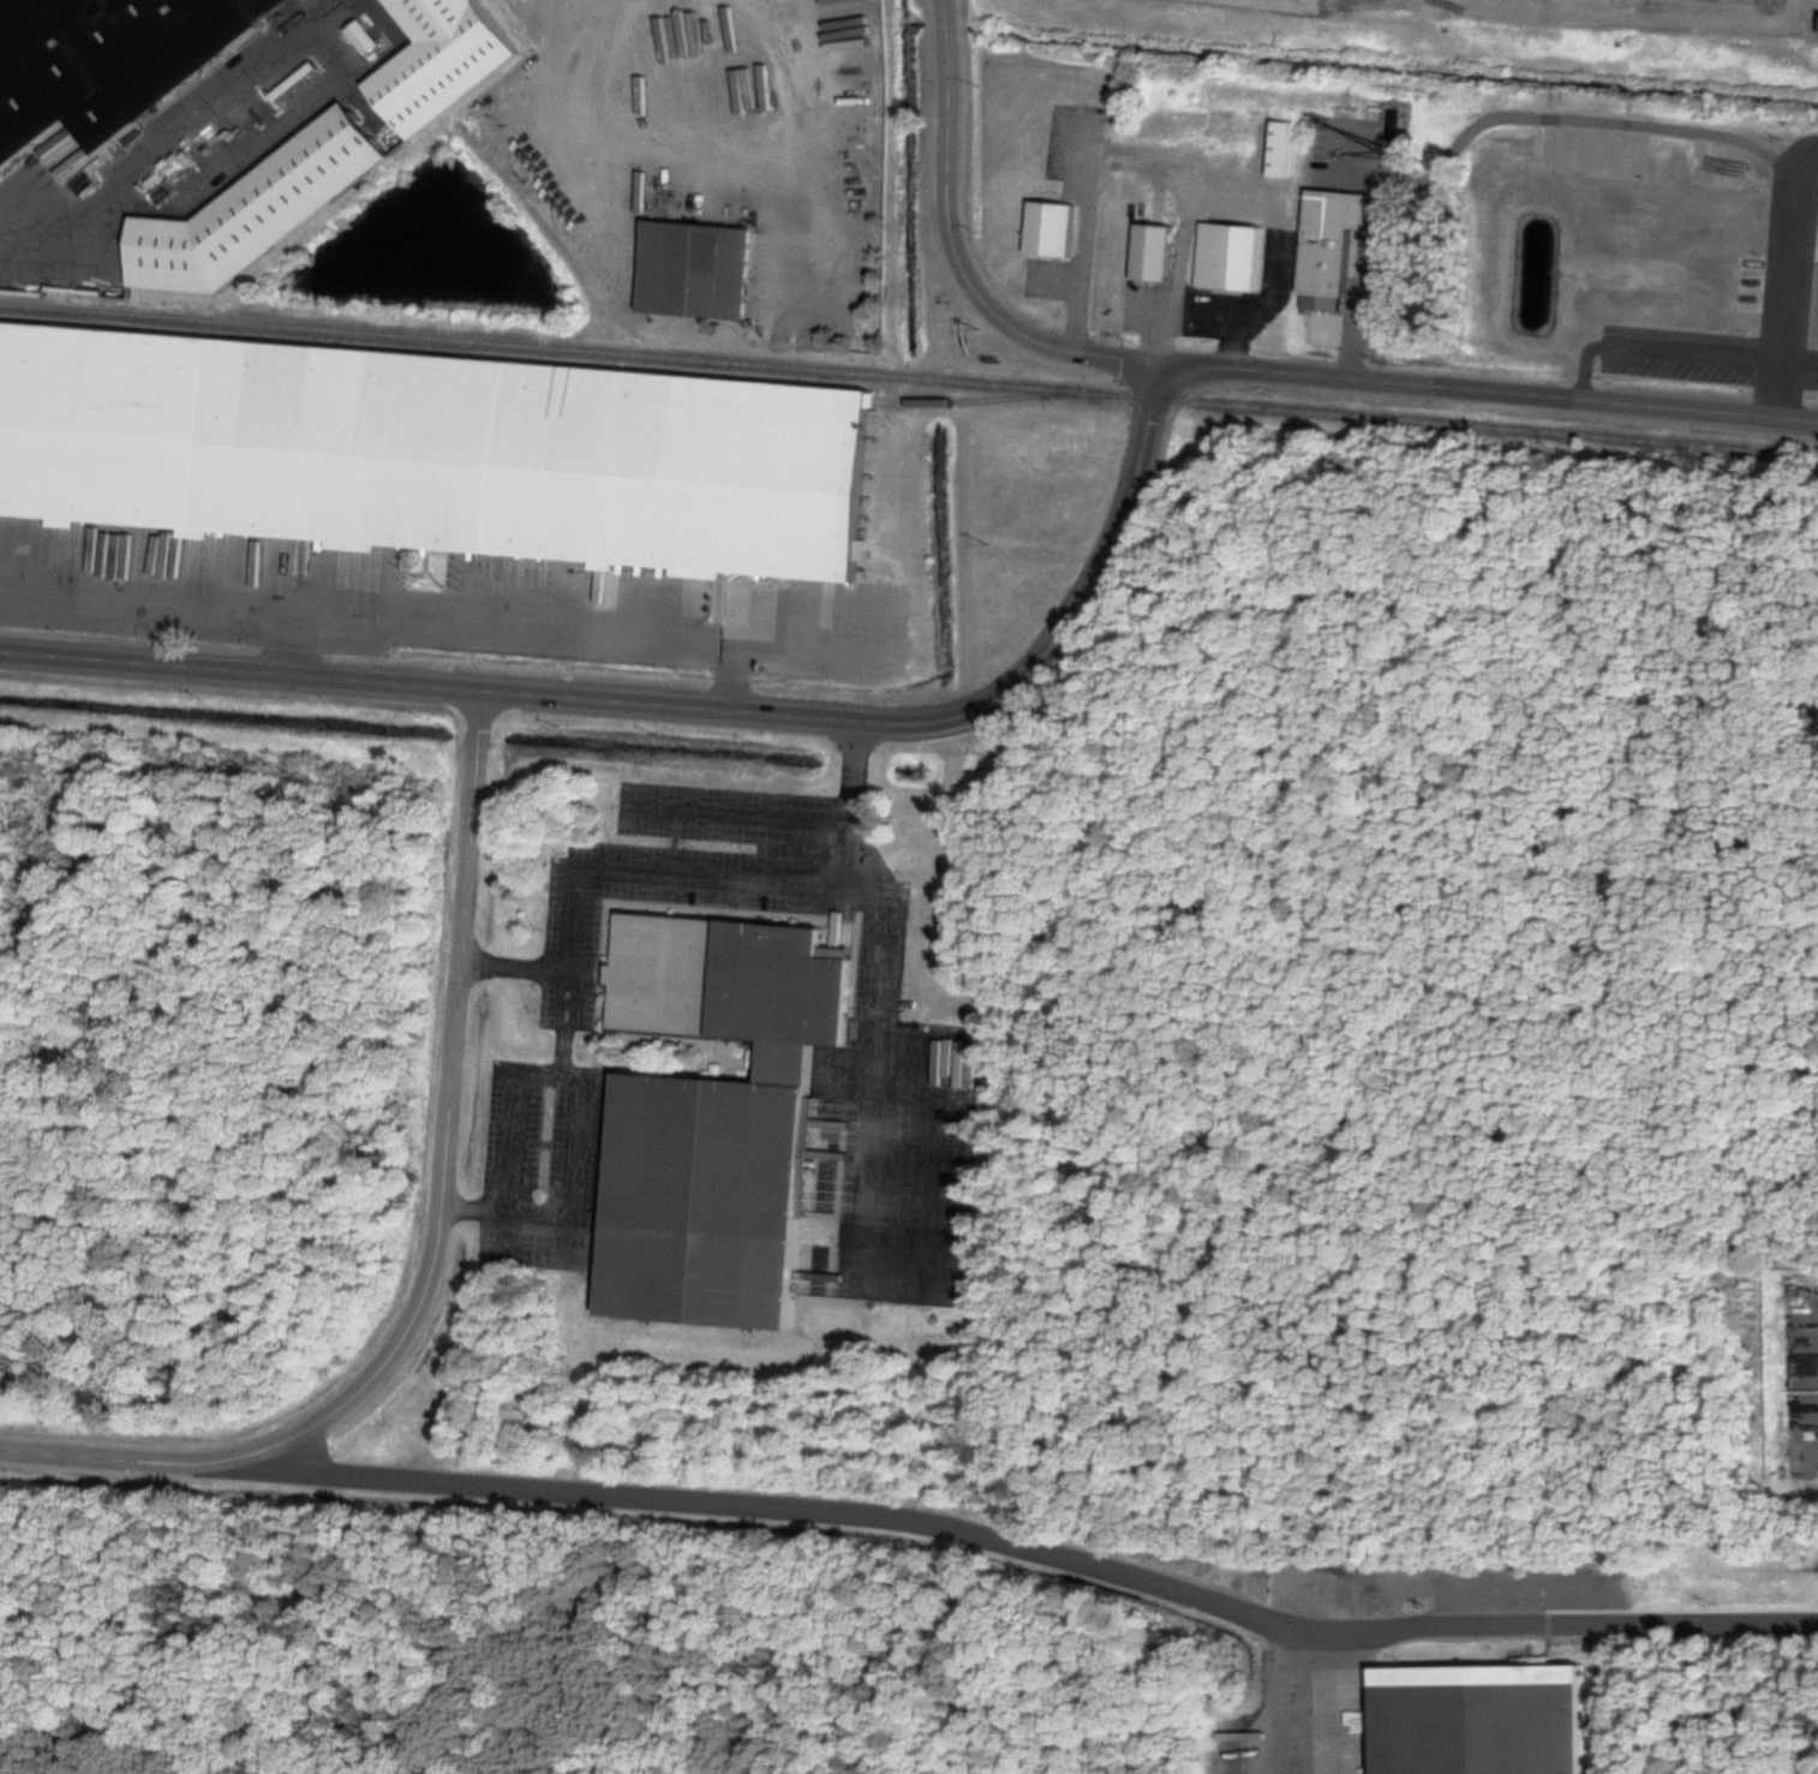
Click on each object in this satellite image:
road: (1469, 1)
road: (1641, 11)
building: (447, 56)
building: (112, 62)
road: (1490, 119)
road: (561, 125)
building: (1280, 144)
road: (1136, 151)
building: (253, 210)
building: (1053, 223)
road: (953, 247)
building: (1155, 247)
building: (1231, 251)
building: (1332, 253)
road: (1278, 255)
building: (689, 263)
building: (1291, 269)
road: (1782, 273)
road: (1233, 340)
road: (1676, 345)
railway: (892, 376)
road: (1485, 390)
railway: (995, 398)
building: (433, 449)
road: (1111, 559)
road: (397, 622)
road: (802, 655)
road: (494, 689)
road: (738, 811)
road: (677, 843)
road: (795, 888)
road: (513, 961)
road: (566, 970)
road: (872, 1068)
road: (555, 1071)
building: (723, 1111)
road: (445, 1115)
road: (126, 1459)
road: (790, 1511)
road: (1490, 1625)
building: (1485, 1718)
building: (1218, 1772)

